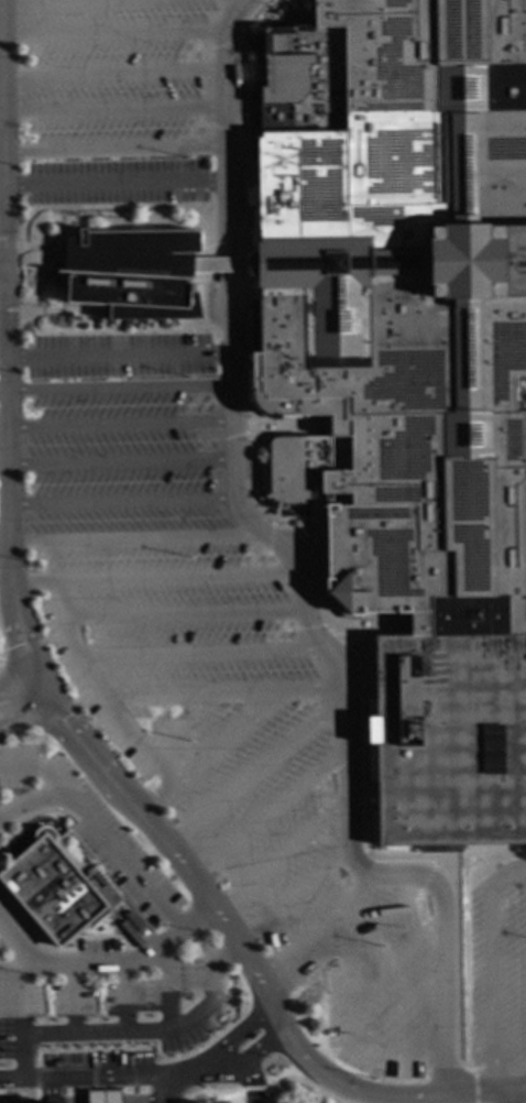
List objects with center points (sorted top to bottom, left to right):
road: (24, 0)
road: (118, 33)
road: (117, 73)
road: (117, 111)
road: (4, 136)
road: (117, 149)
road: (2, 152)
road: (117, 186)
road: (9, 247)
building: (217, 265)
road: (217, 266)
road: (3, 273)
building: (132, 274)
road: (9, 305)
road: (122, 356)
building: (406, 378)
road: (122, 387)
road: (4, 391)
road: (122, 424)
road: (123, 463)
road: (124, 501)
road: (139, 539)
road: (6, 542)
road: (302, 575)
road: (158, 580)
road: (185, 615)
parking lot: (176, 634)
road: (1, 646)
road: (204, 653)
road: (17, 684)
road: (99, 694)
road: (19, 696)
road: (193, 697)
road: (25, 719)
road: (235, 733)
road: (40, 745)
road: (33, 764)
road: (255, 772)
road: (43, 785)
road: (123, 796)
road: (30, 801)
road: (272, 810)
road: (284, 852)
road: (124, 858)
building: (54, 889)
road: (295, 893)
road: (387, 917)
road: (318, 925)
road: (397, 961)
road: (111, 967)
parking lot: (497, 973)
road: (166, 991)
road: (124, 1000)
road: (70, 1001)
road: (21, 1013)
road: (401, 1014)
road: (349, 1026)
road: (160, 1031)
road: (63, 1069)
road: (149, 1078)
road: (284, 1079)
road: (474, 1086)
road: (165, 1090)
road: (252, 1090)
road: (51, 1091)
road: (18, 1092)
road: (210, 1092)
road: (326, 1095)
road: (36, 1097)
road: (504, 1099)

